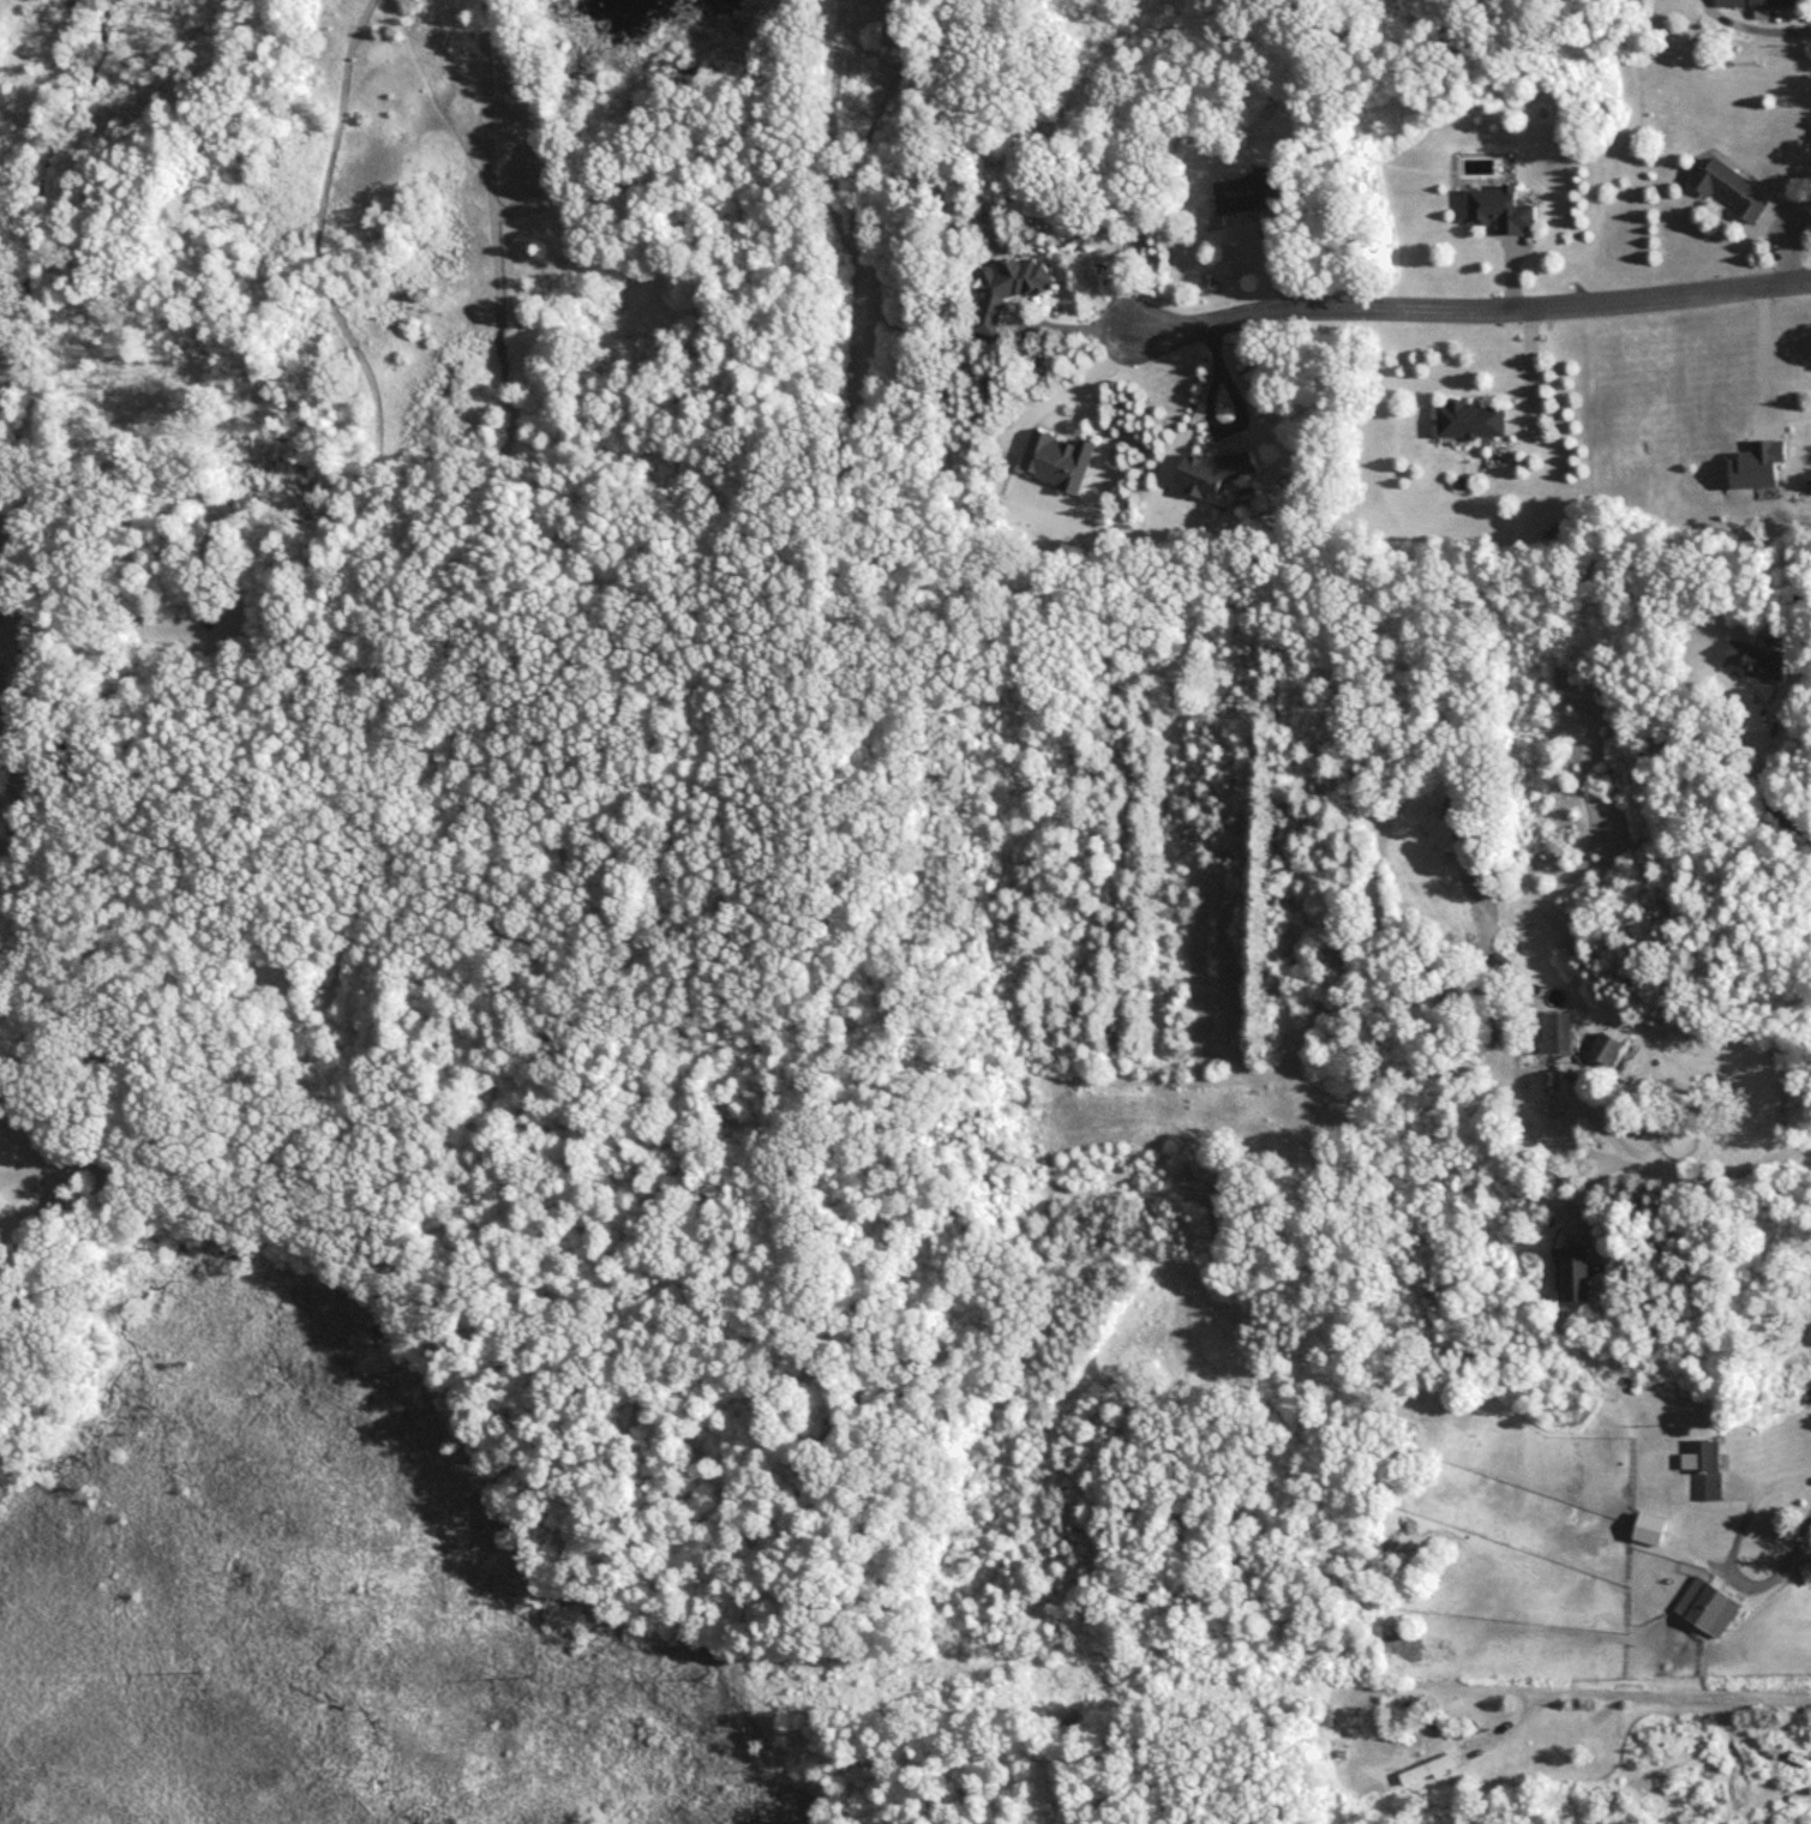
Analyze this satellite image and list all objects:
building: (1761, 2)
building: (1726, 194)
building: (1234, 202)
building: (1495, 215)
building: (1005, 294)
road: (1469, 307)
road: (1762, 348)
road: (1081, 389)
building: (1467, 426)
building: (1059, 467)
building: (1205, 479)
building: (1751, 664)
road: (1762, 782)
building: (1560, 1040)
road: (1648, 1164)
road: (1593, 1200)
building: (1573, 1280)
building: (1703, 1476)
road: (1731, 1567)
building: (1705, 1614)
road: (1638, 1697)
building: (1318, 1721)
building: (1426, 1775)

